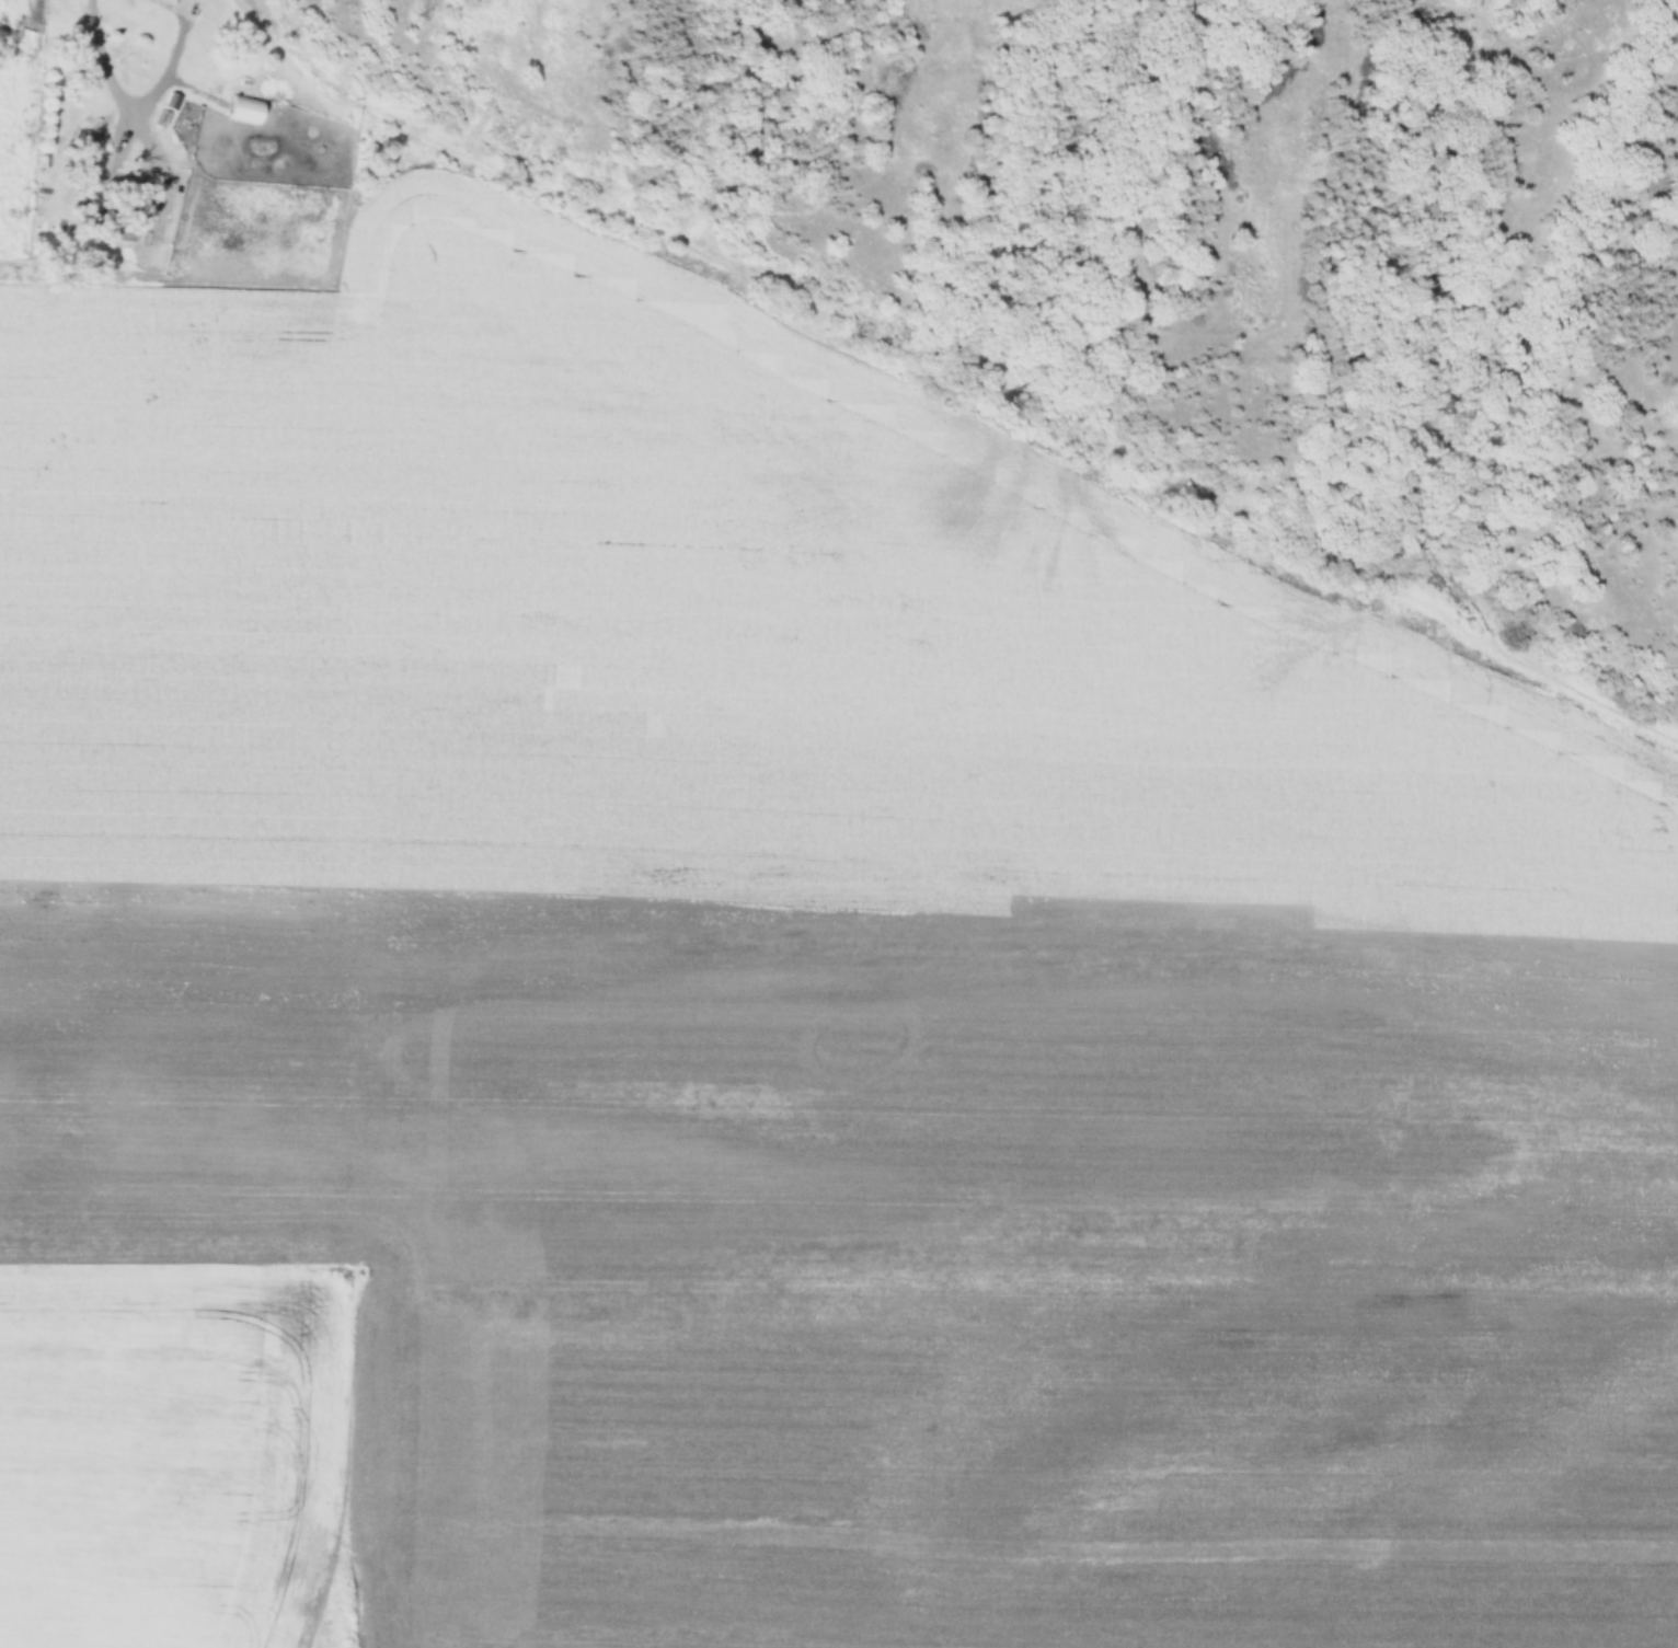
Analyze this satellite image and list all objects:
road: (139, 100)
building: (244, 110)
building: (100, 124)

